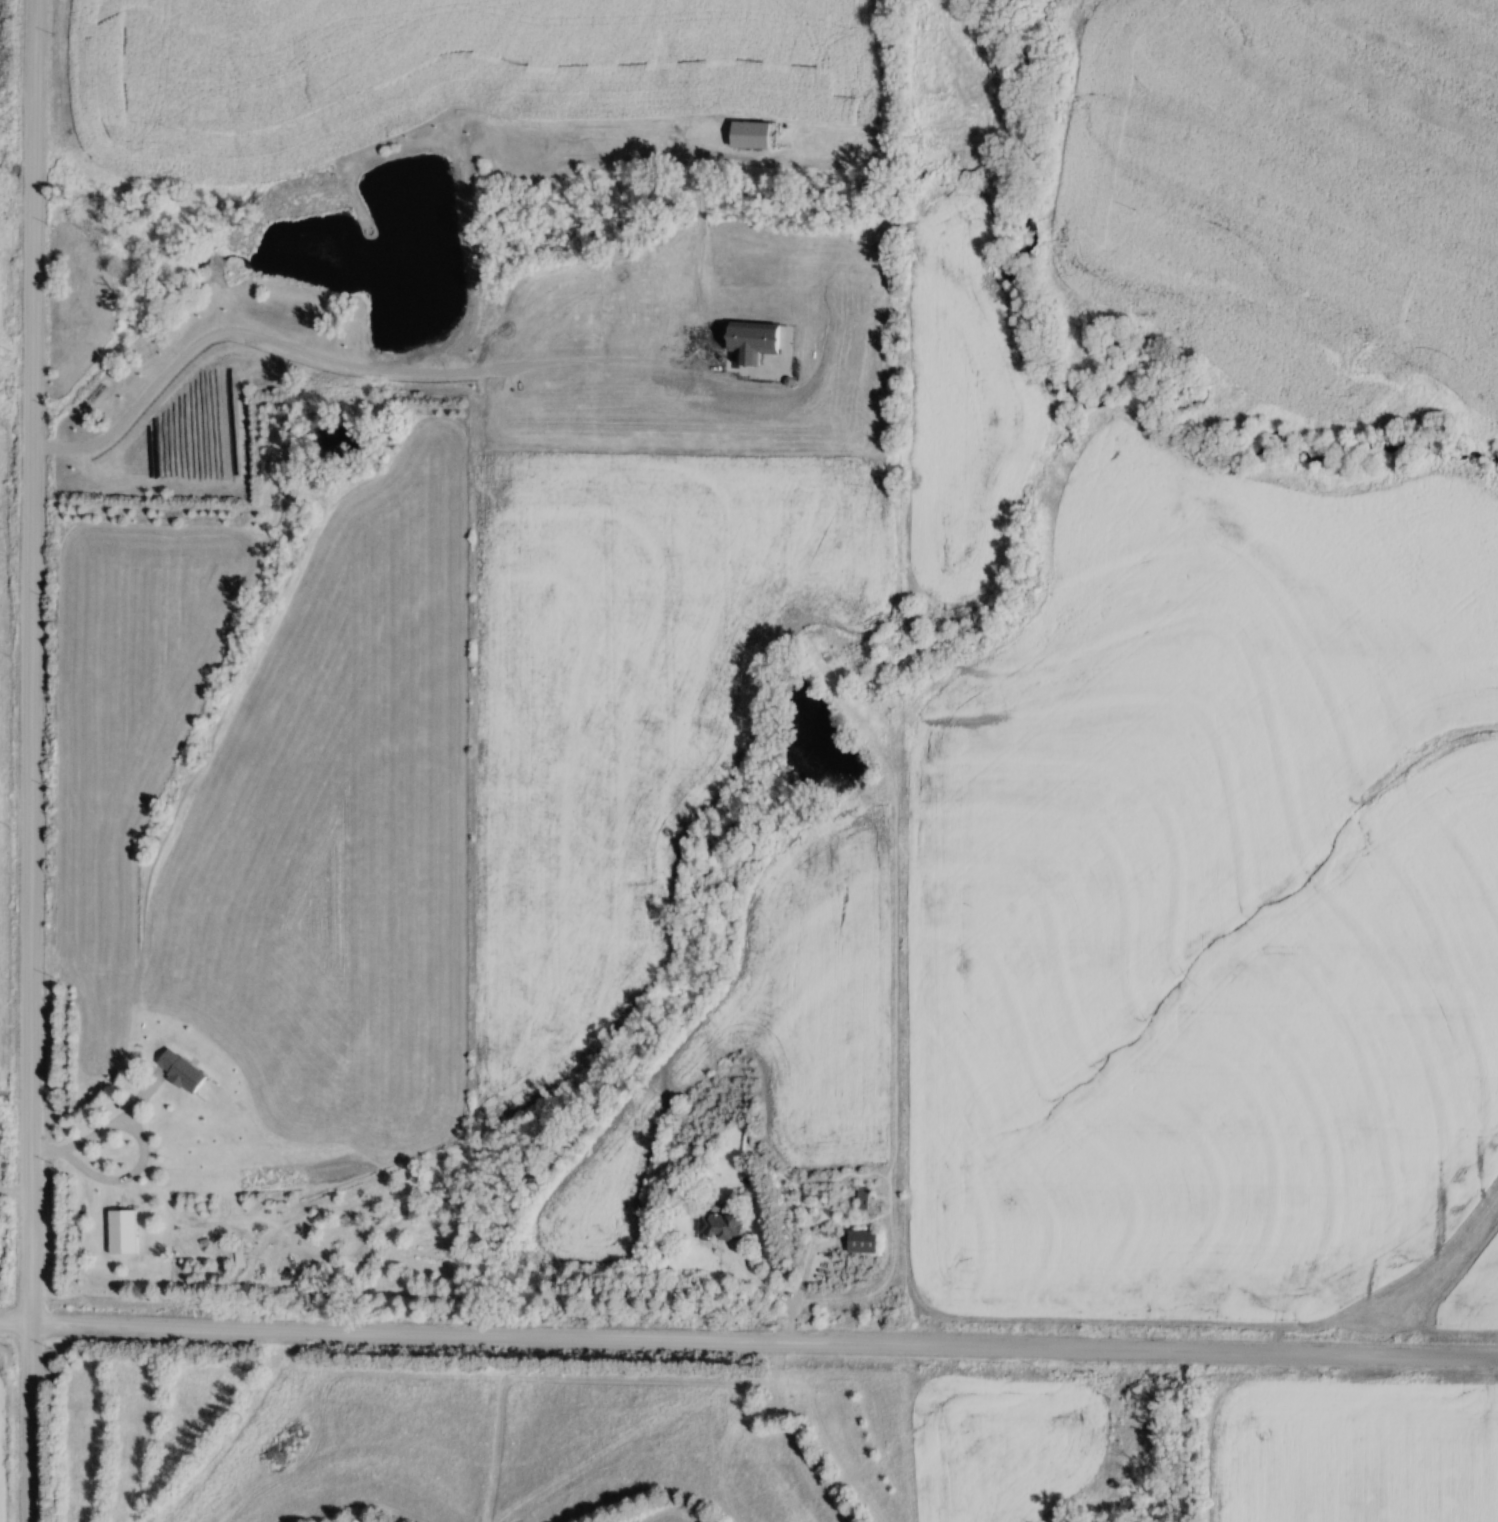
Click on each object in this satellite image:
dam: (470, 229)
road: (31, 663)
building: (178, 1070)
road: (102, 1132)
building: (861, 1197)
building: (719, 1226)
building: (120, 1232)
building: (859, 1241)
building: (237, 1253)
road: (748, 1340)
road: (29, 1424)
road: (1186, 1435)

